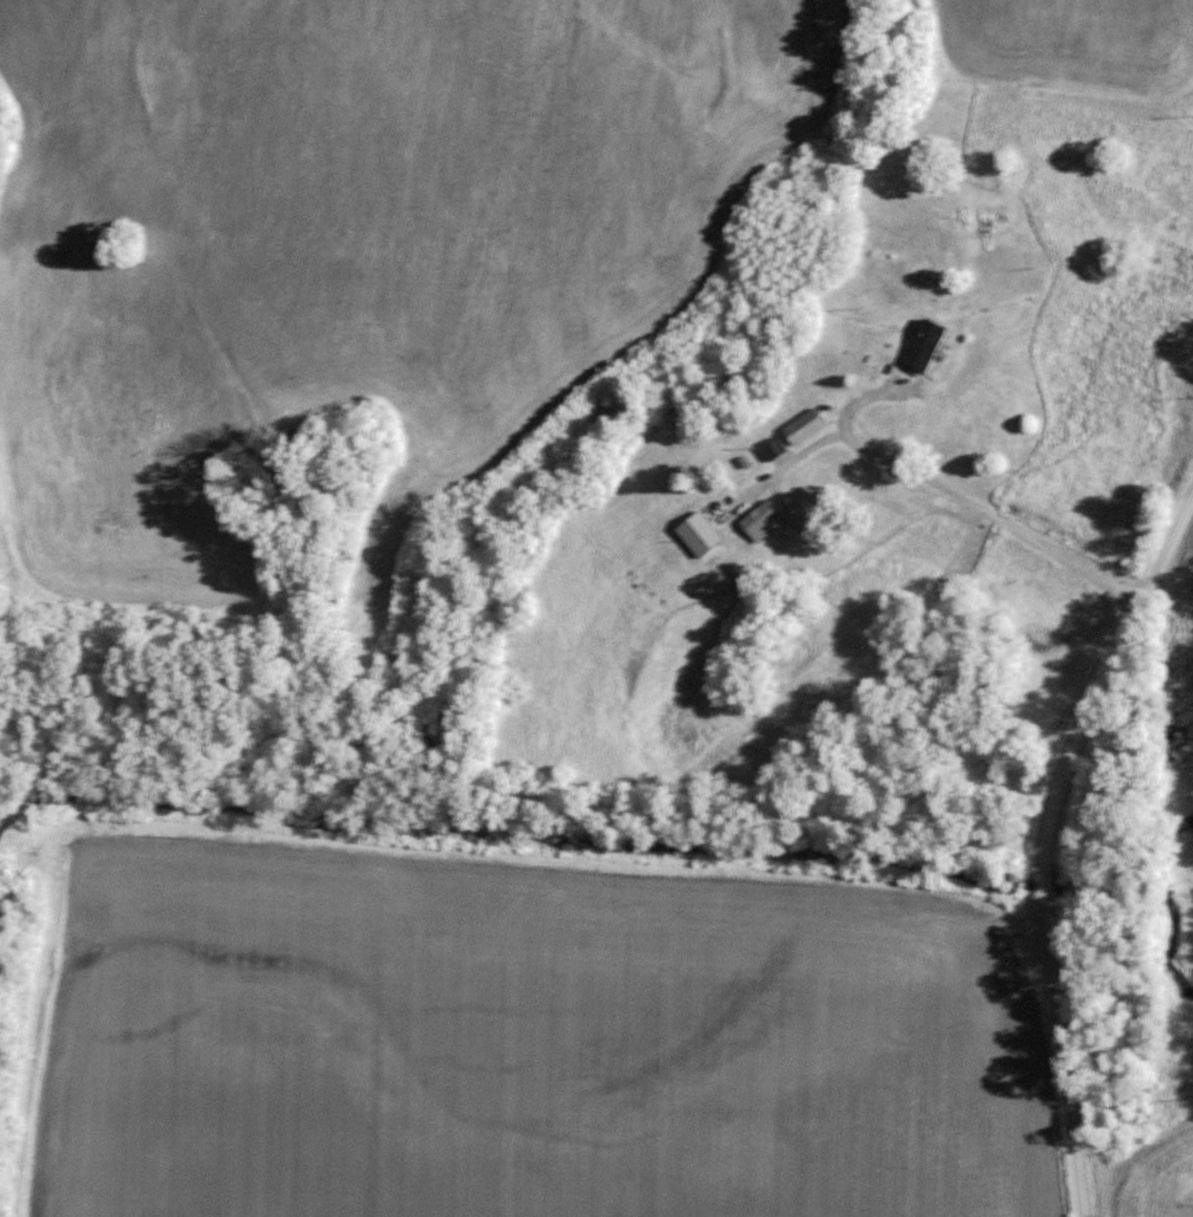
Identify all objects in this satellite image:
building: (926, 344)
building: (805, 425)
road: (931, 647)
road: (1069, 844)

